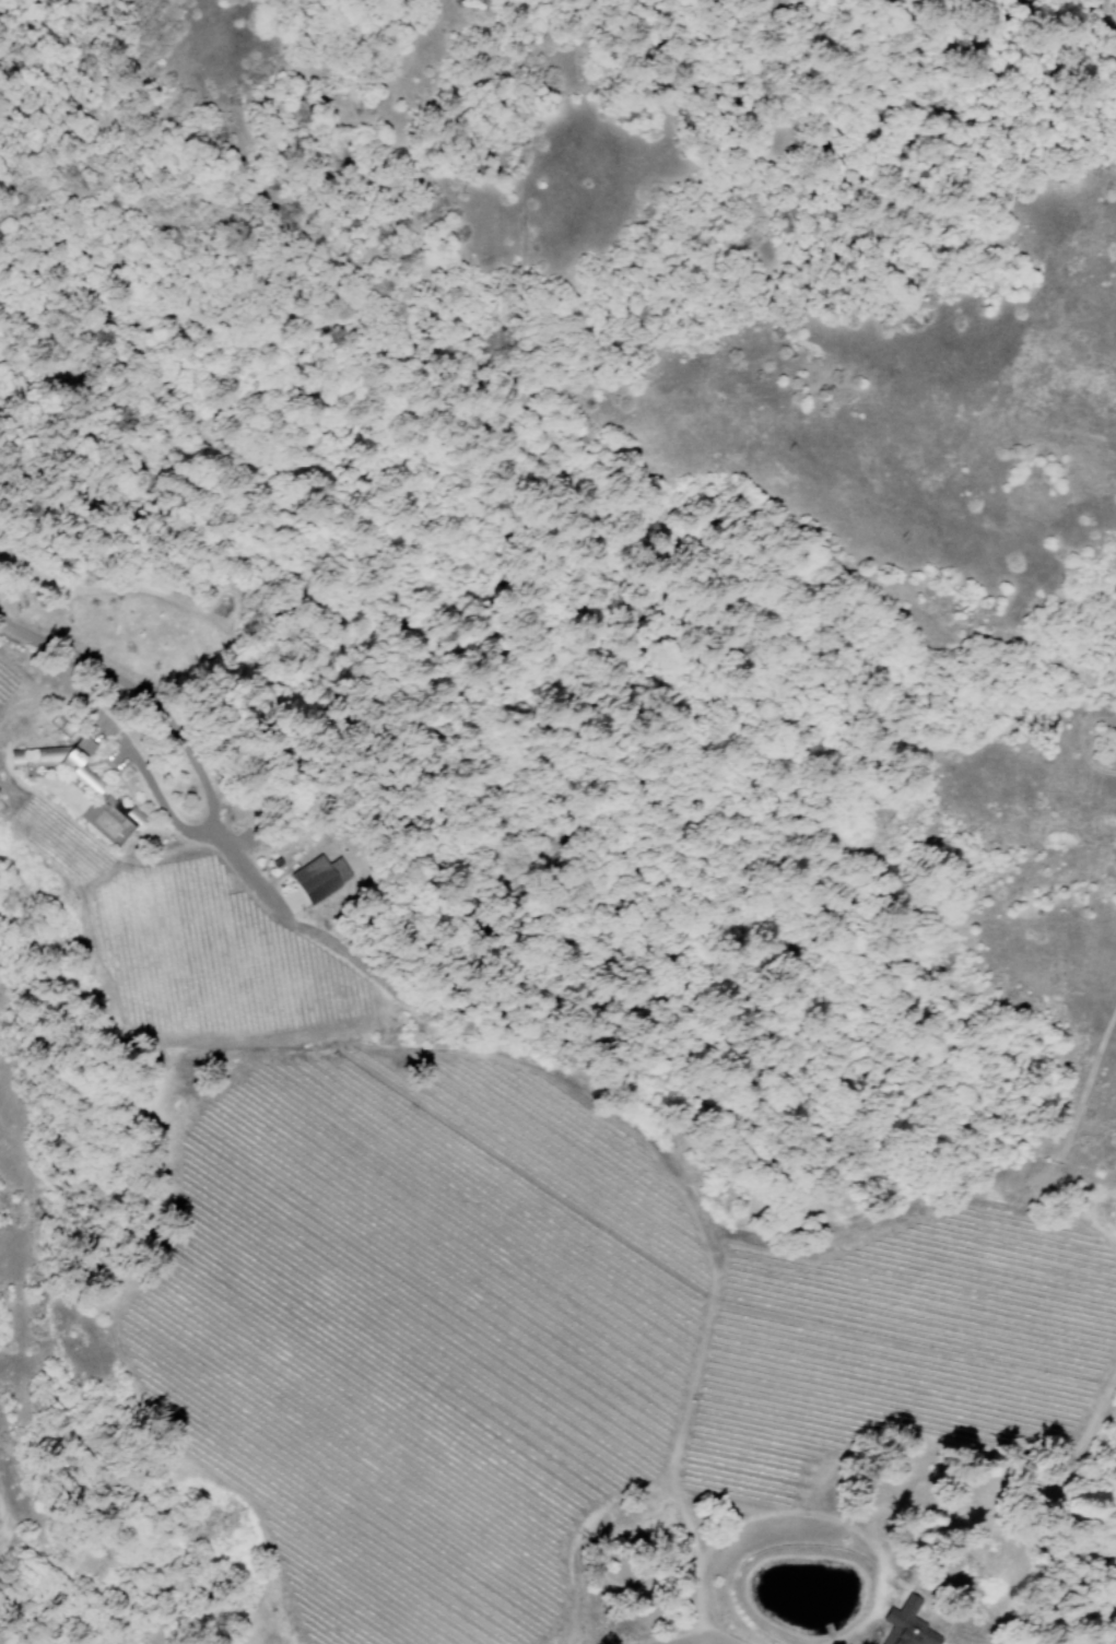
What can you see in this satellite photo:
building: (15, 759)
building: (72, 762)
building: (319, 878)
building: (906, 1625)

